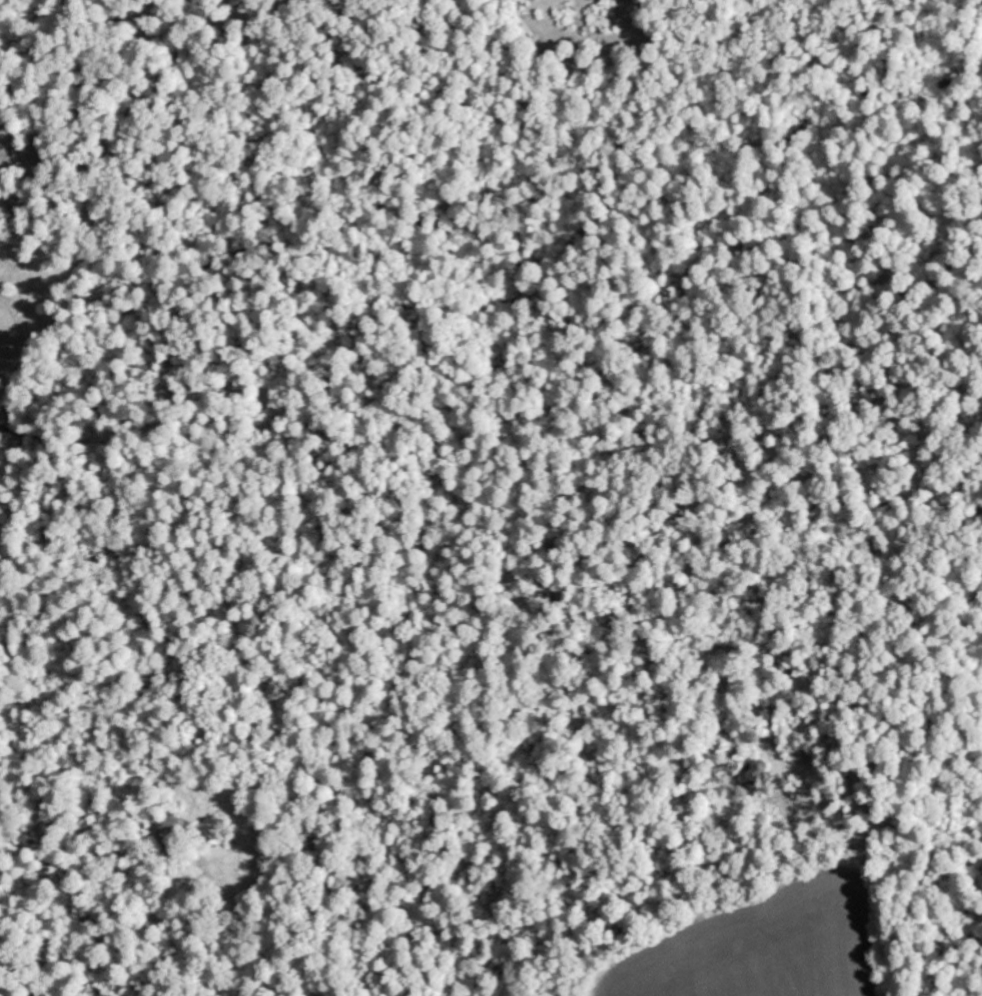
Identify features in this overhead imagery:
building: (6, 213)
road: (69, 497)
building: (211, 836)

